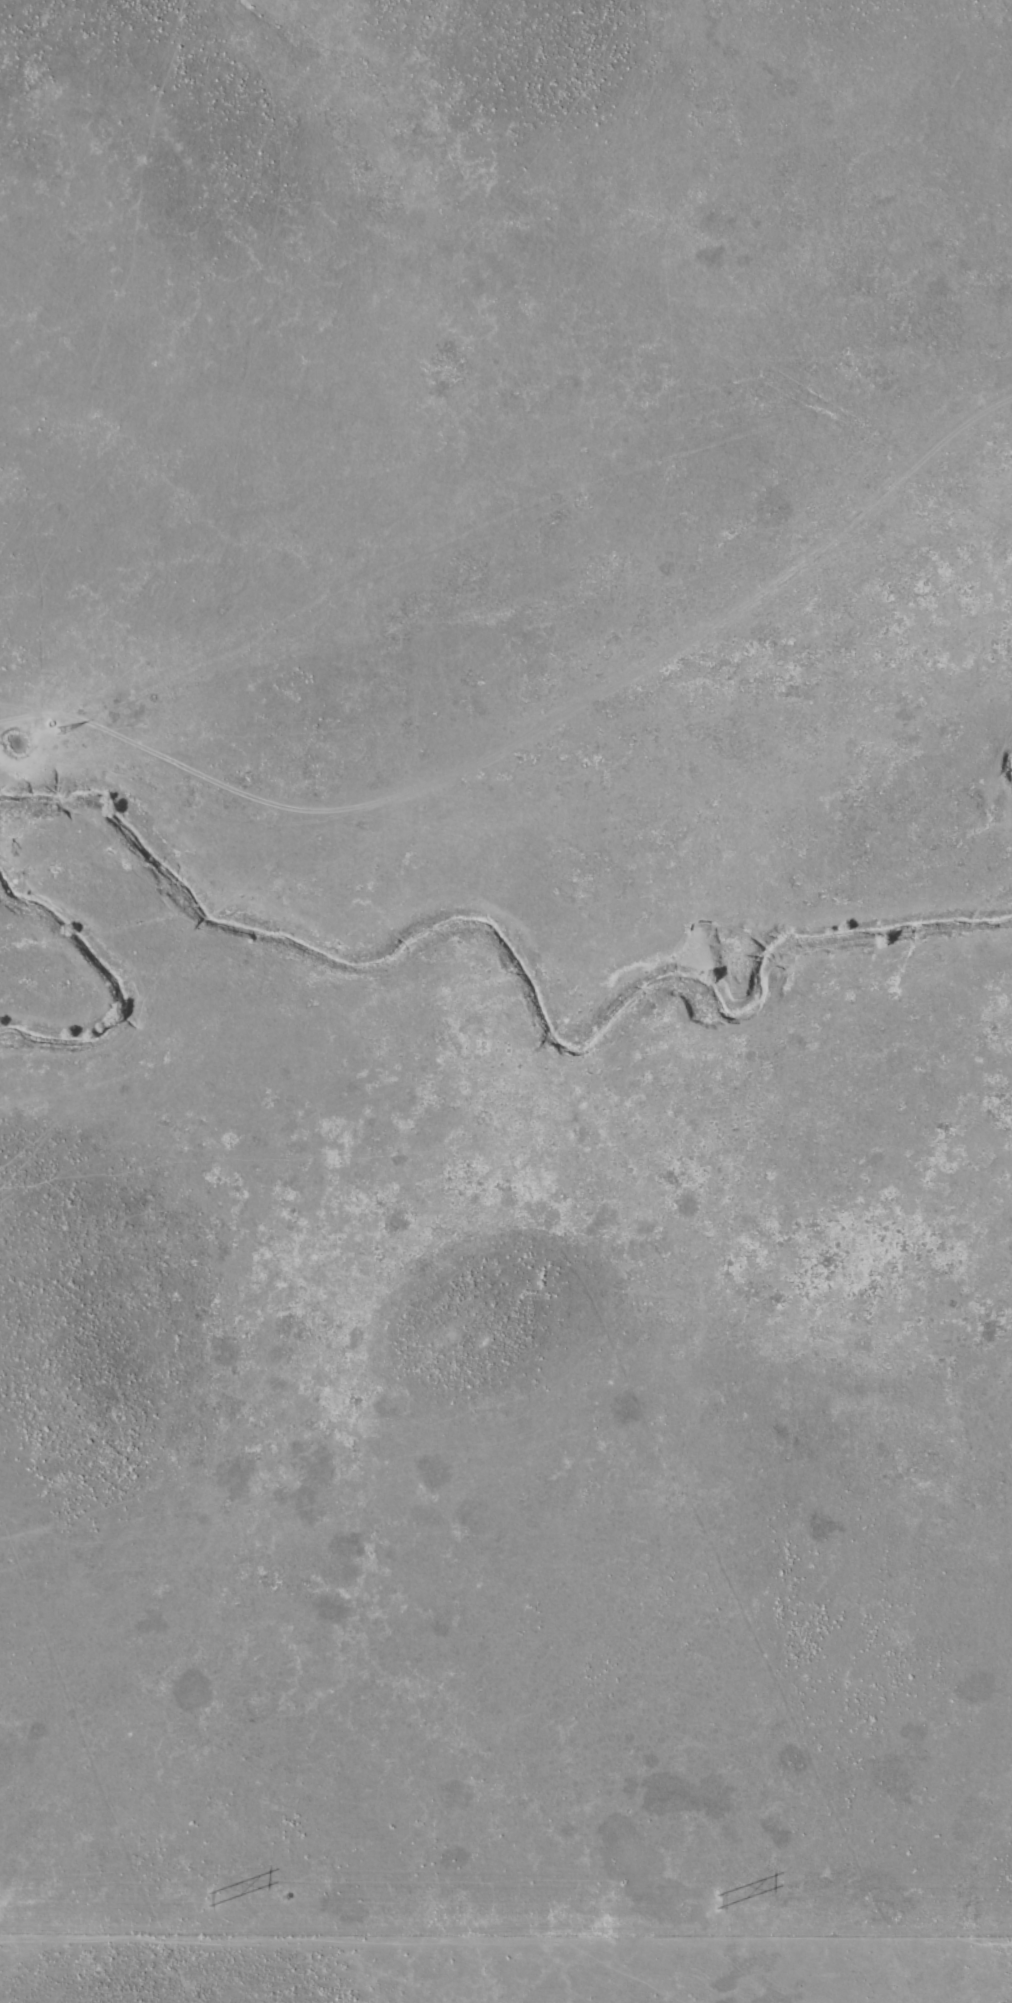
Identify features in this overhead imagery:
power tower: (205, 1898)
power tower: (719, 1902)

